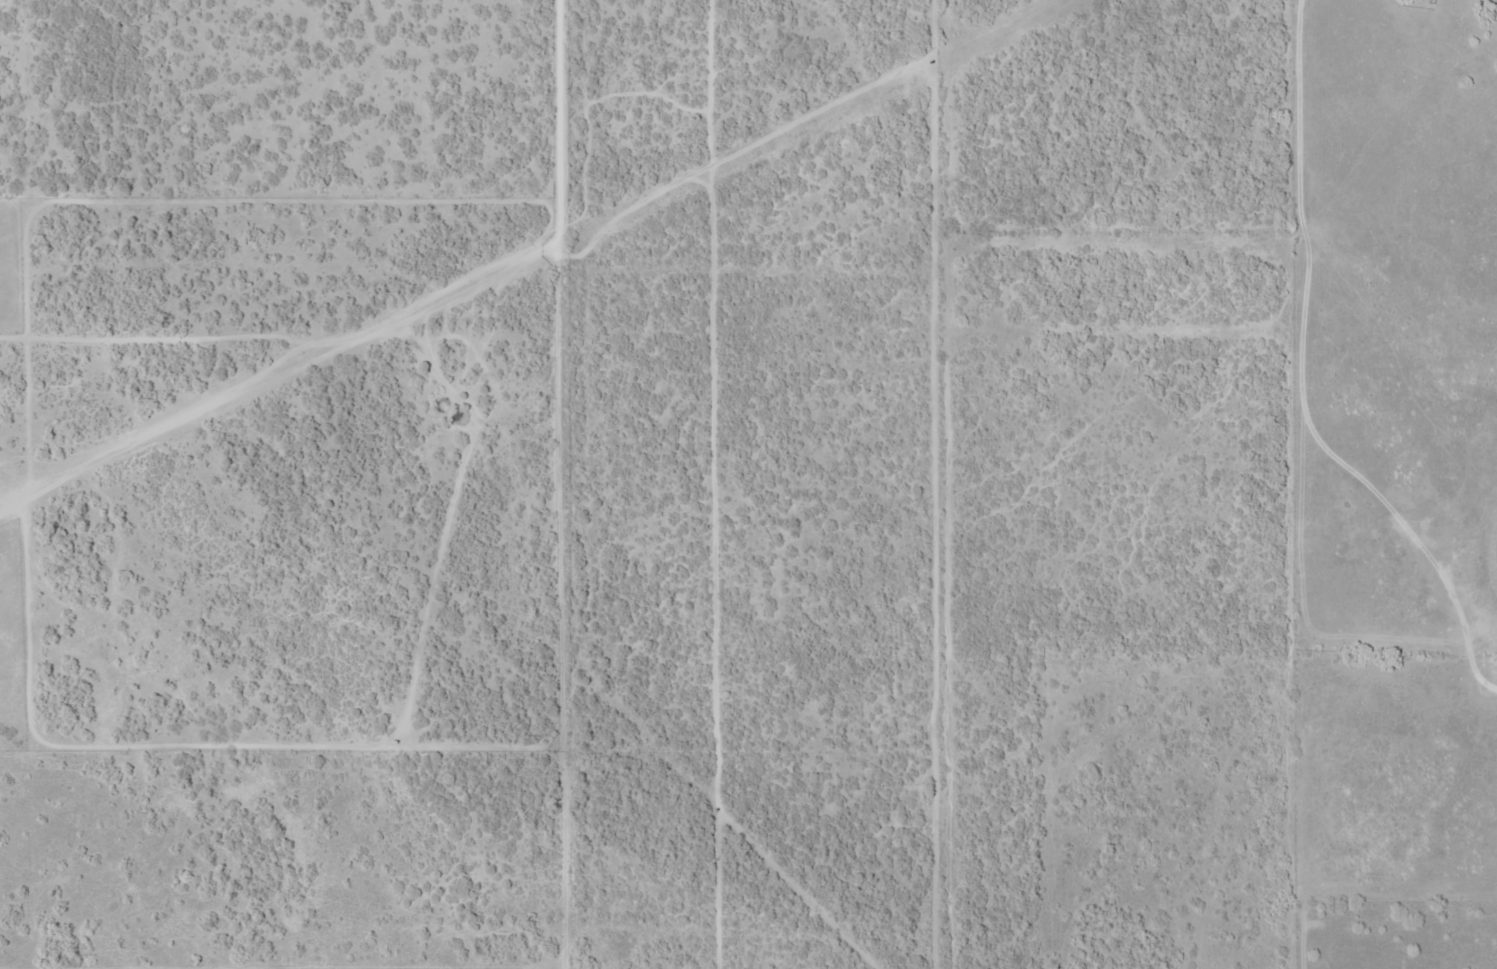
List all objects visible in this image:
road: (560, 484)

